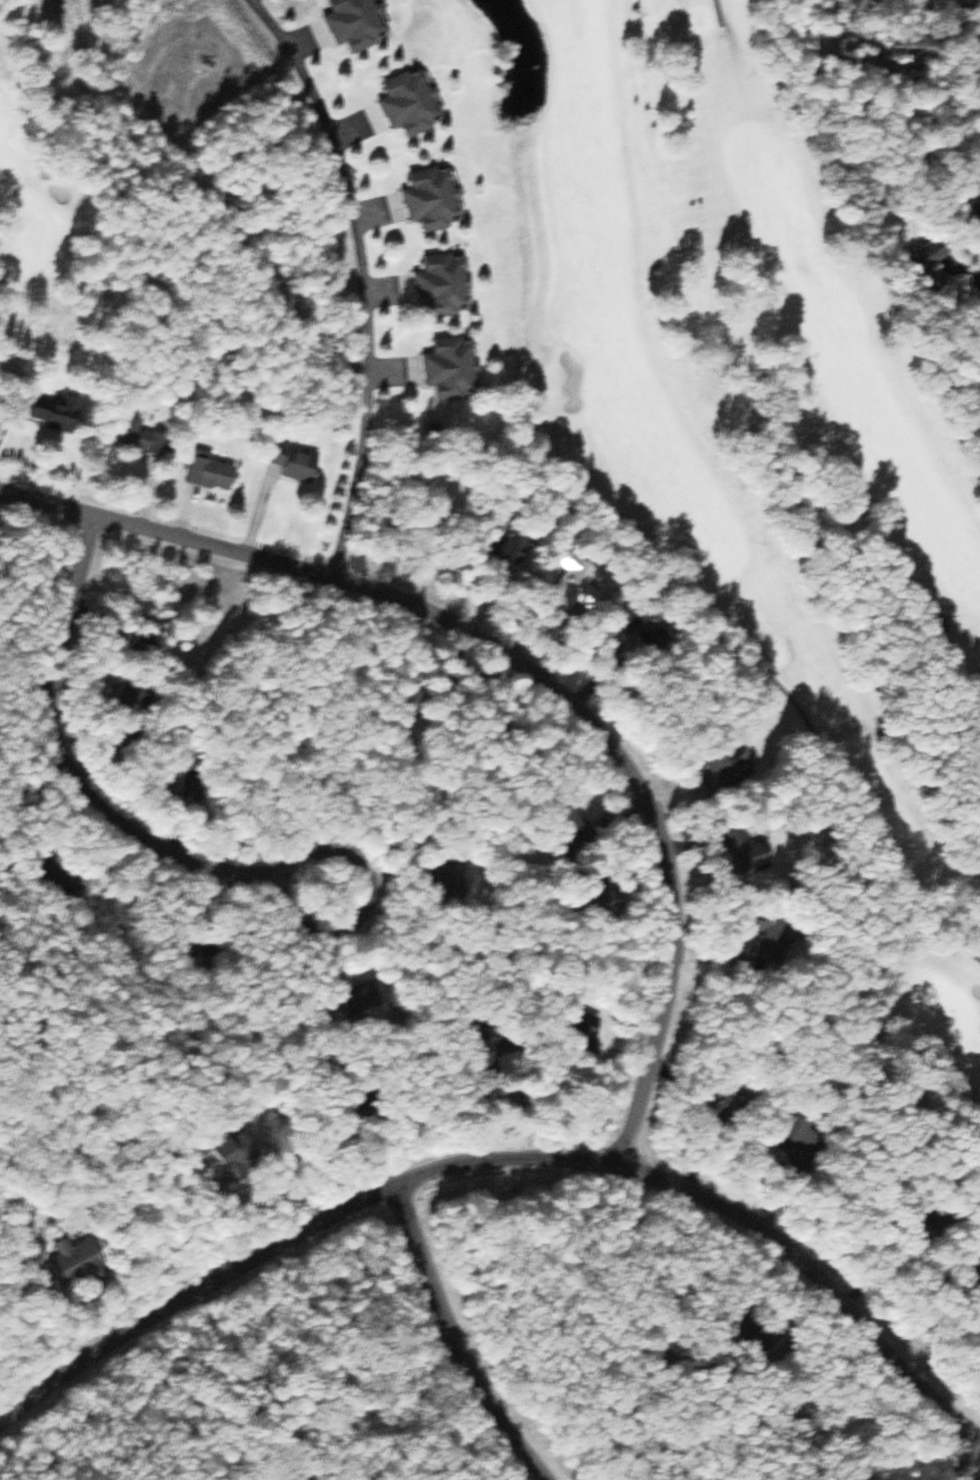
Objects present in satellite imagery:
building: (359, 24)
building: (413, 104)
park: (66, 163)
building: (972, 188)
building: (436, 199)
building: (934, 263)
building: (447, 286)
building: (455, 369)
building: (61, 414)
building: (143, 438)
park: (763, 457)
building: (306, 465)
building: (213, 473)
building: (573, 582)
building: (653, 628)
road: (519, 673)
building: (135, 695)
building: (724, 770)
road: (71, 788)
building: (774, 940)
building: (365, 999)
building: (593, 1022)
building: (724, 1100)
building: (803, 1132)
building: (244, 1152)
road: (504, 1165)
building: (82, 1261)
road: (451, 1343)

